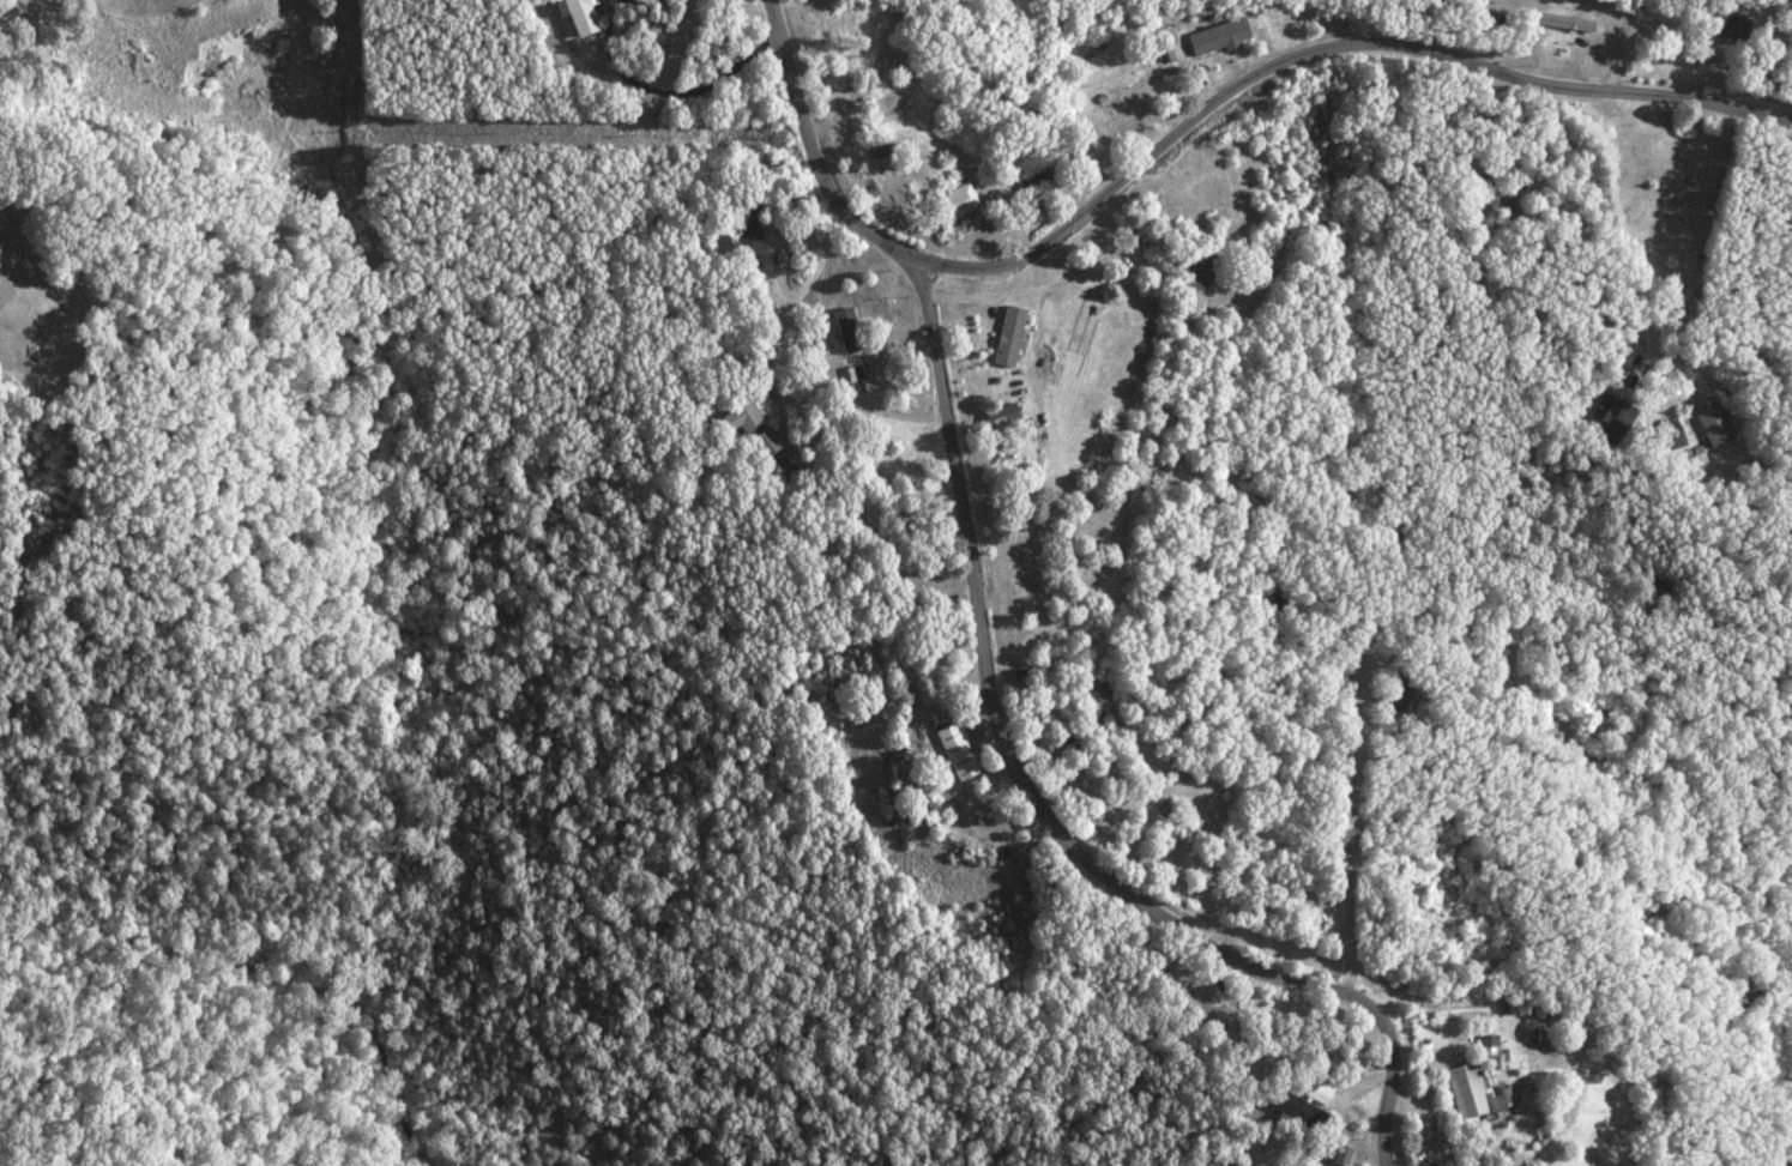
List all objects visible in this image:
building: (577, 14)
building: (1561, 19)
building: (1215, 35)
building: (1169, 50)
road: (1495, 70)
building: (957, 197)
road: (1079, 222)
building: (747, 231)
building: (1197, 274)
road: (1616, 274)
road: (959, 297)
building: (844, 328)
building: (1004, 334)
road: (772, 371)
building: (998, 413)
building: (1609, 413)
building: (737, 416)
building: (1709, 419)
building: (1665, 430)
building: (761, 440)
road: (989, 658)
building: (1093, 694)
building: (954, 750)
building: (921, 792)
building: (1187, 1002)
building: (1486, 1044)
building: (1315, 1091)
building: (1471, 1092)
building: (1291, 1110)
building: (1338, 1154)

